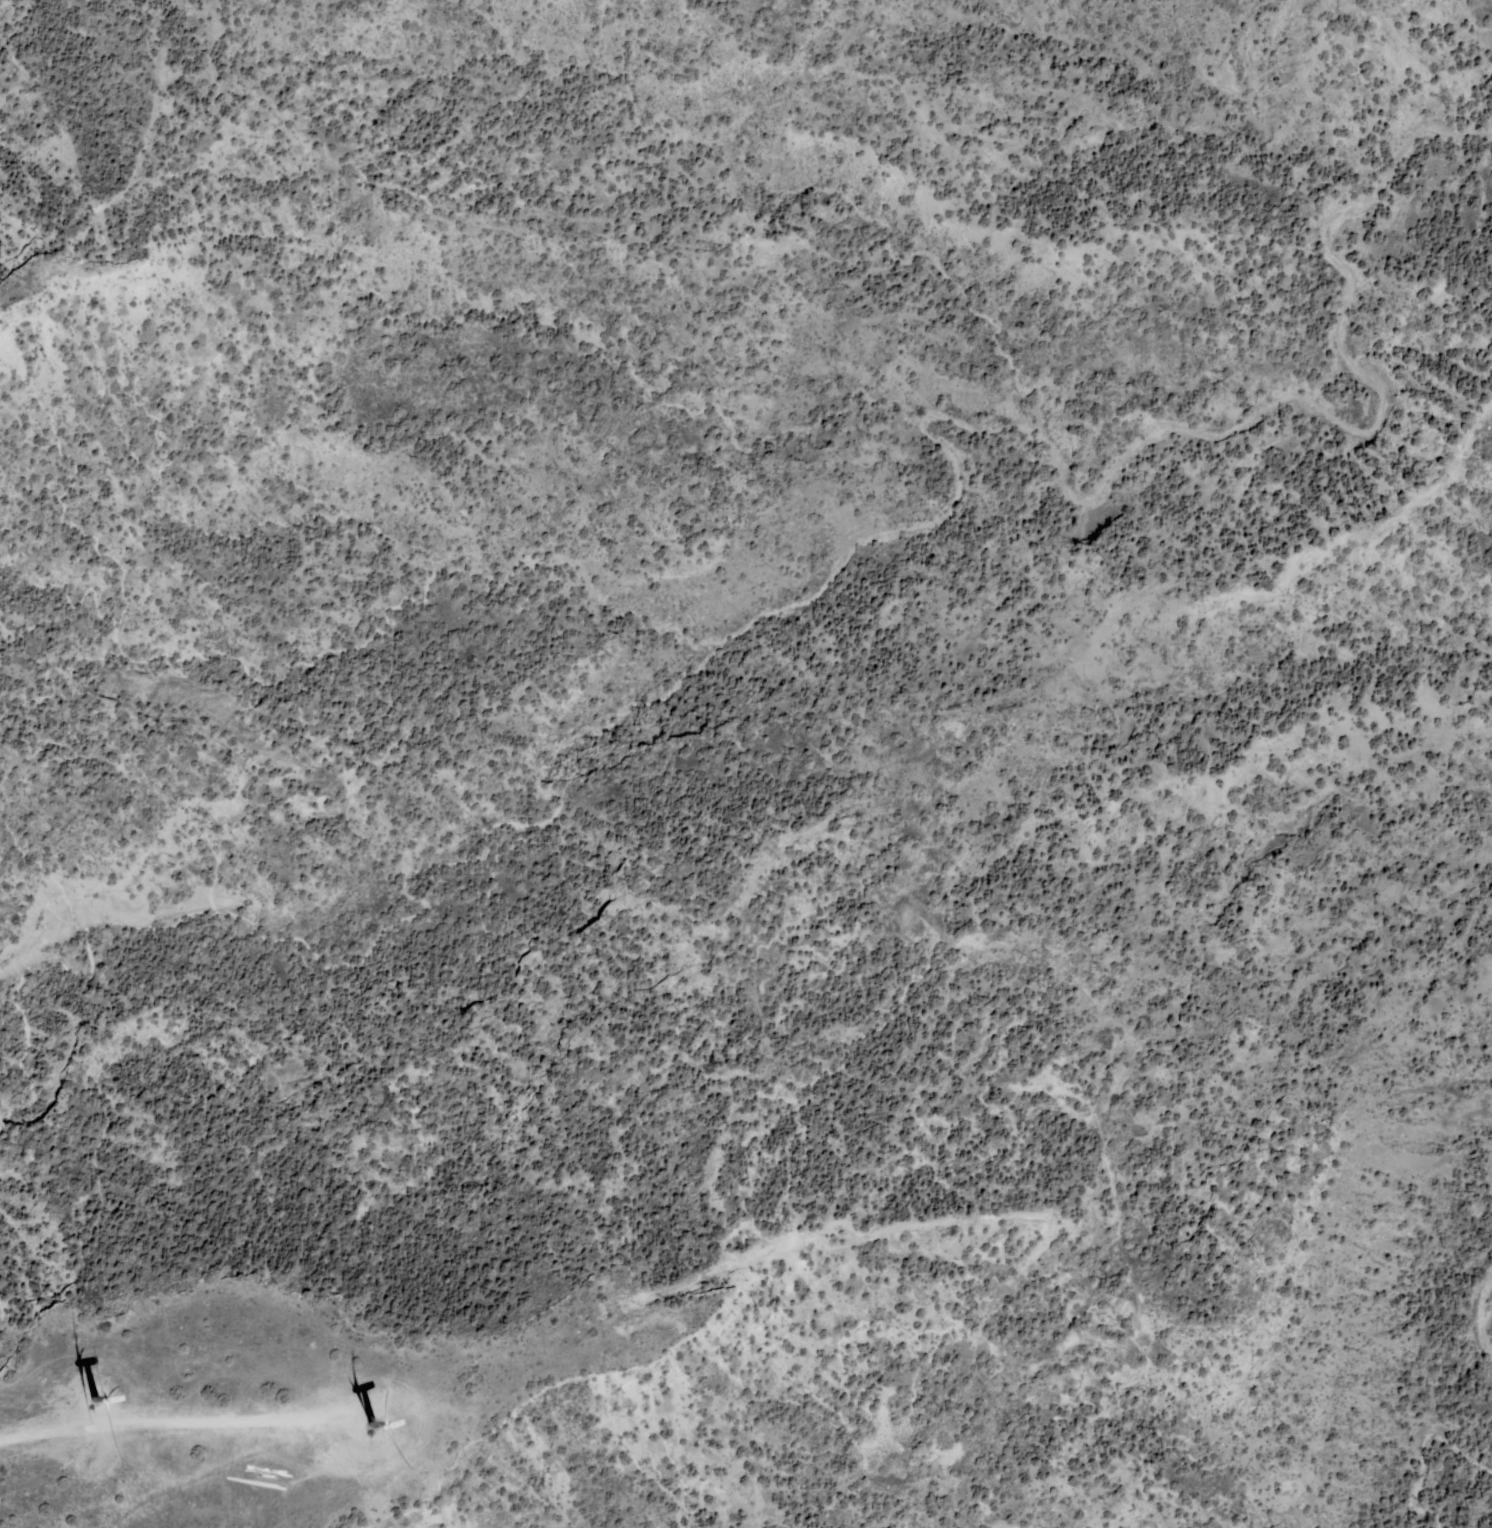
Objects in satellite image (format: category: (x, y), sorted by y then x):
wind turbine: (92, 1400)
road: (165, 1423)
wind turbine: (370, 1425)

